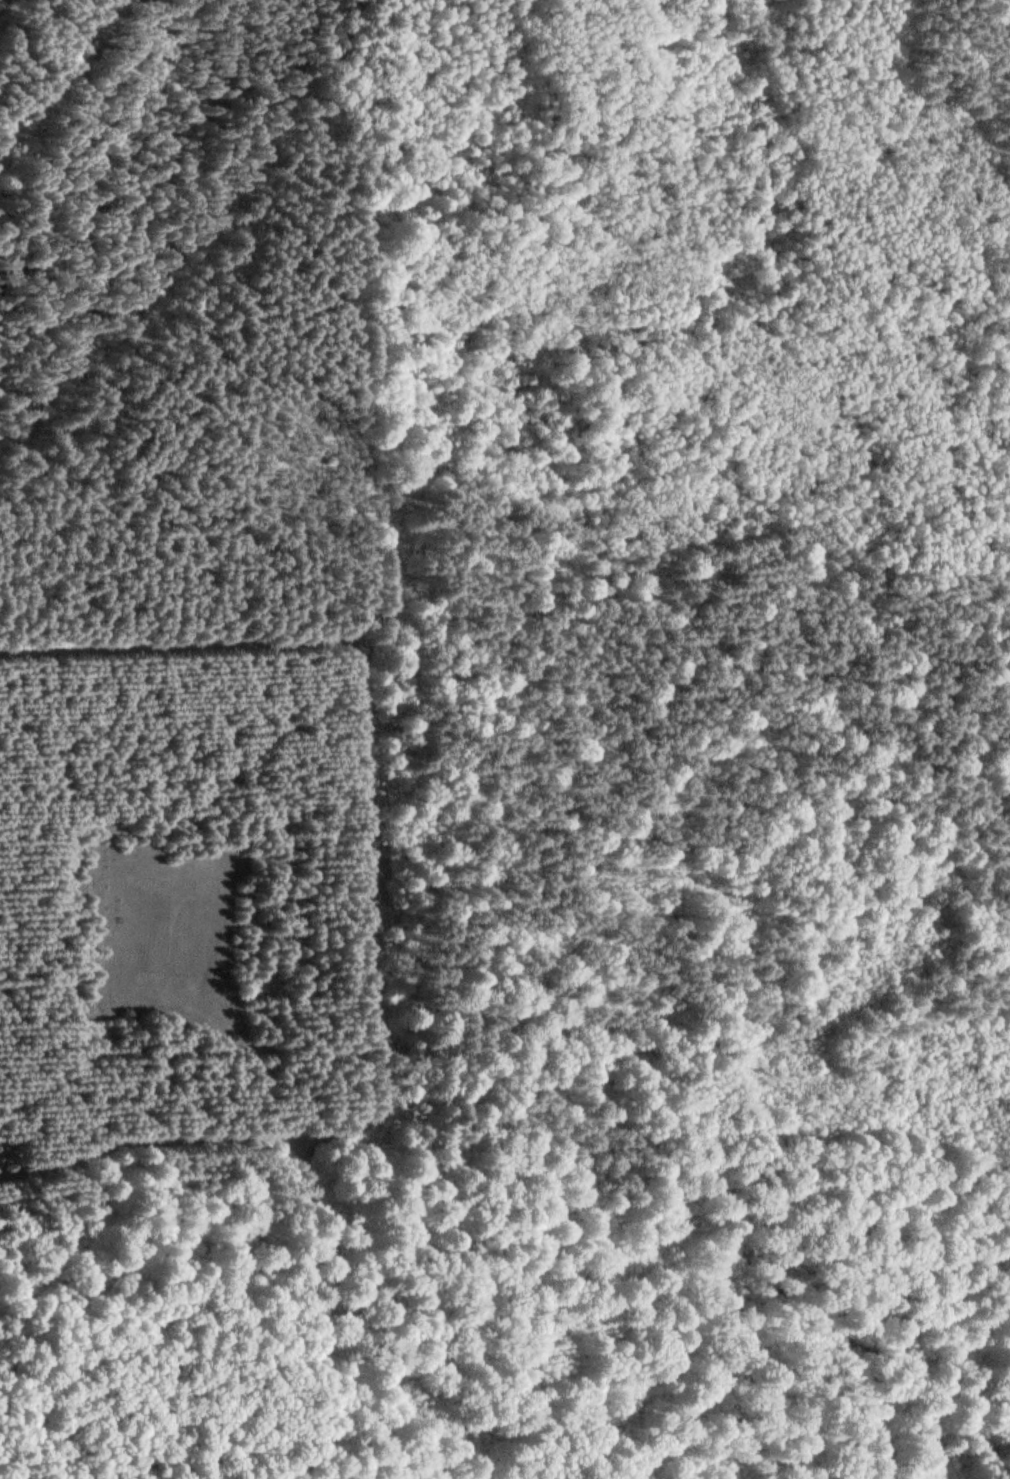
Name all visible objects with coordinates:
road: (361, 746)
road: (156, 1142)
road: (320, 1318)

